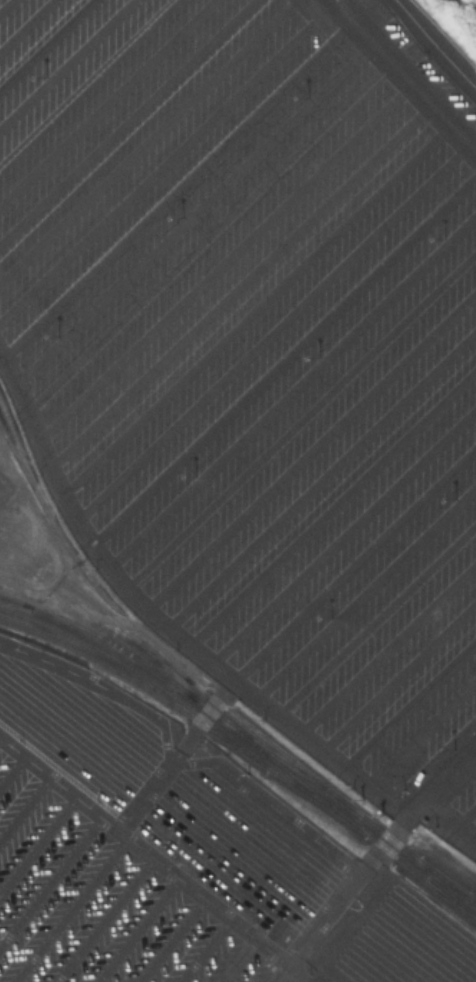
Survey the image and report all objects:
road: (4, 4)
road: (25, 24)
road: (44, 42)
road: (437, 42)
road: (65, 62)
road: (401, 68)
road: (87, 82)
road: (106, 100)
road: (126, 121)
road: (147, 138)
road: (164, 164)
road: (174, 189)
road: (190, 209)
road: (208, 233)
road: (223, 255)
road: (240, 282)
road: (256, 306)
road: (273, 328)
road: (282, 354)
road: (291, 386)
road: (300, 416)
road: (311, 447)
railway: (18, 455)
road: (322, 474)
road: (333, 505)
road: (344, 534)
road: (356, 562)
railway: (78, 567)
road: (366, 588)
railway: (13, 602)
railway: (94, 608)
road: (376, 617)
railway: (103, 638)
road: (190, 642)
road: (388, 647)
road: (398, 674)
railway: (139, 675)
railway: (181, 690)
road: (410, 703)
railway: (187, 717)
road: (201, 717)
road: (174, 760)
road: (12, 769)
railway: (296, 772)
railway: (332, 795)
road: (24, 806)
road: (94, 811)
road: (465, 812)
road: (37, 843)
road: (370, 861)
railway: (419, 879)
road: (50, 880)
railway: (453, 888)
road: (205, 897)
railway: (448, 899)
road: (69, 909)
road: (103, 919)
road: (136, 929)
road: (172, 940)
road: (205, 949)
road: (234, 958)

